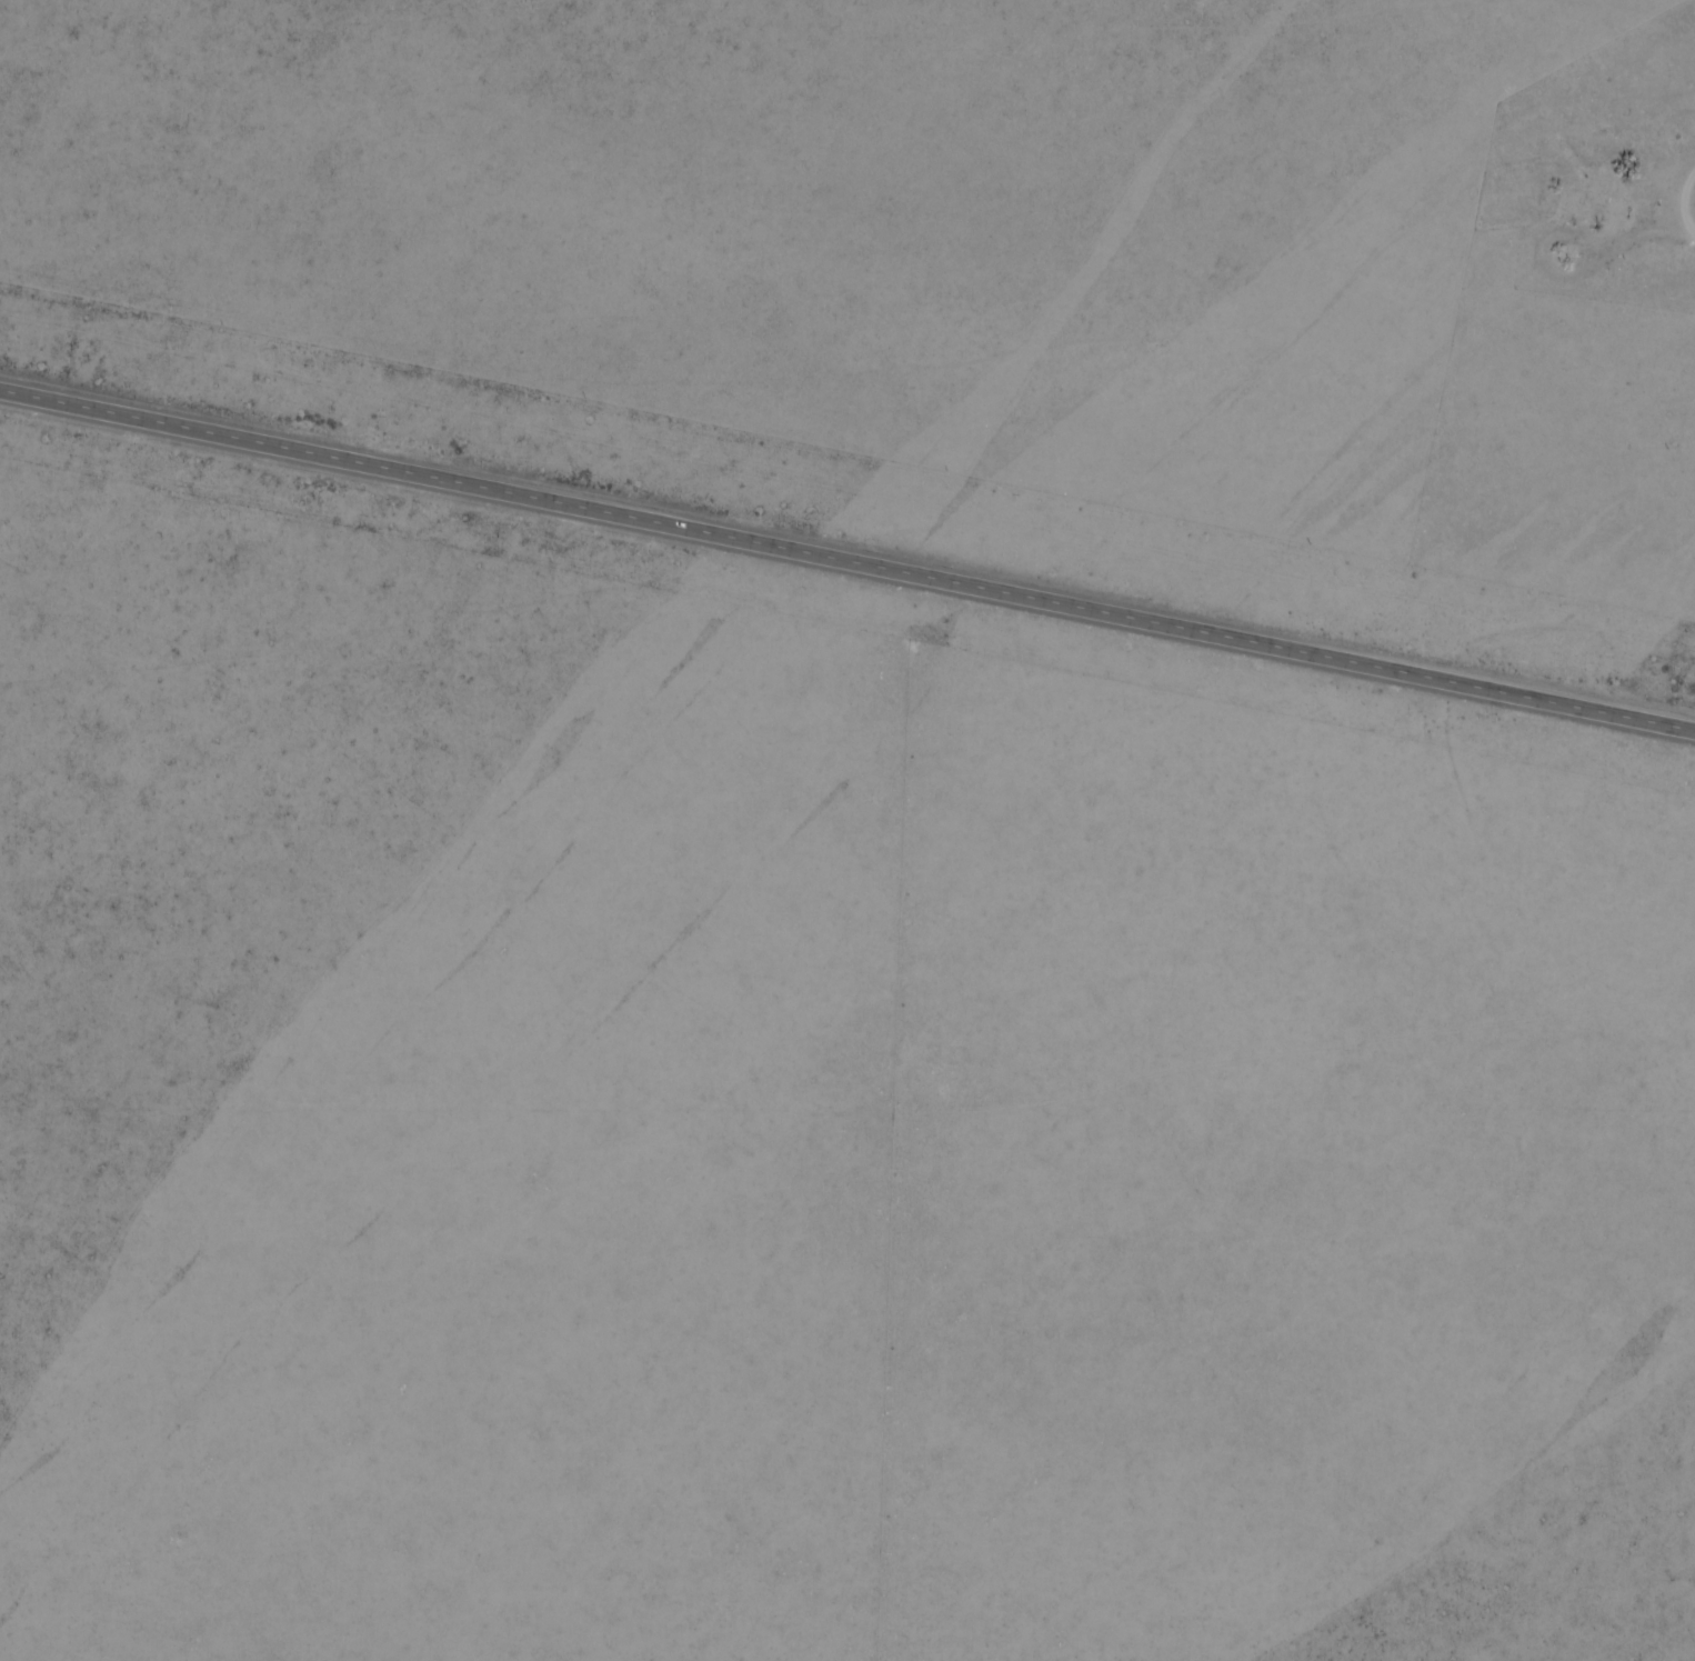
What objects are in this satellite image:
road: (1643, 177)
building: (1592, 204)
road: (1689, 232)
road: (847, 560)

